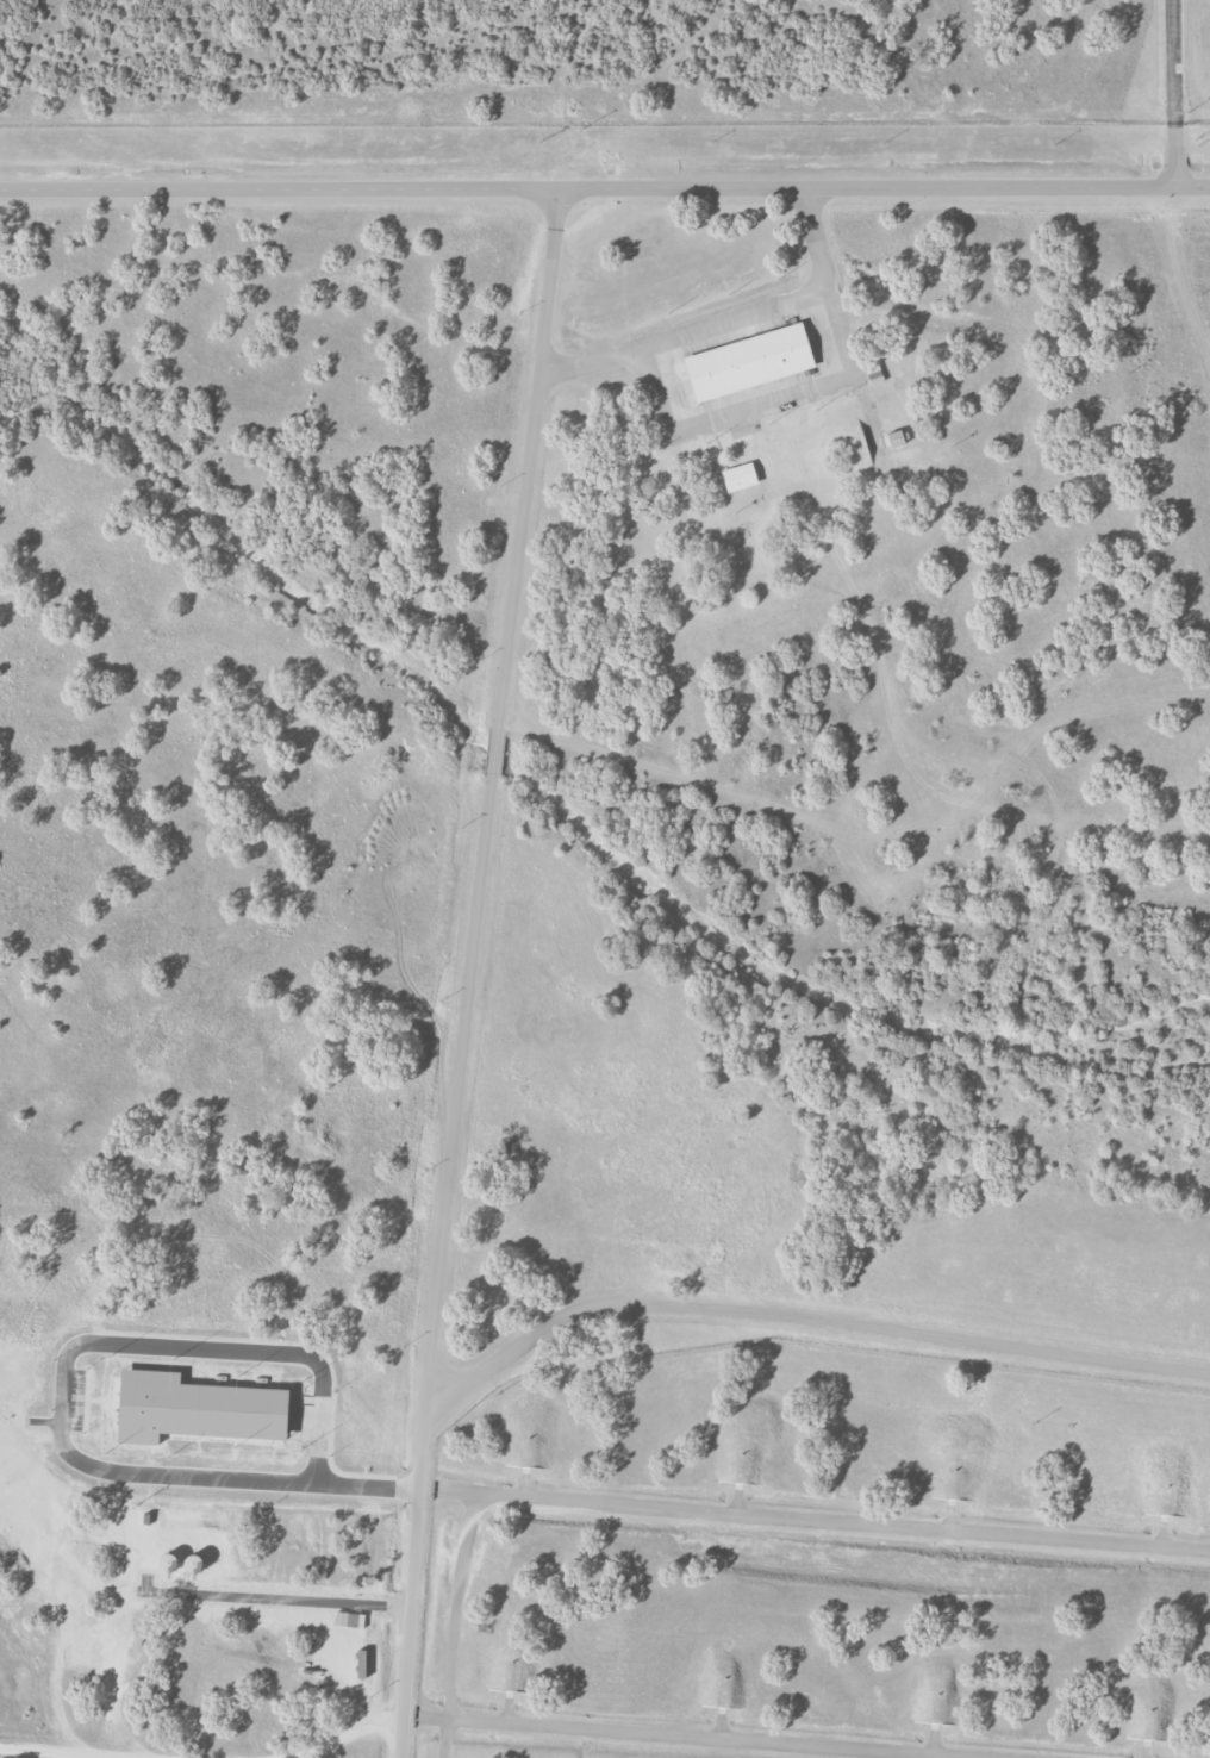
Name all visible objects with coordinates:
road: (1174, 93)
road: (604, 188)
road: (728, 314)
building: (748, 361)
building: (807, 385)
building: (894, 438)
road: (526, 460)
building: (738, 476)
road: (494, 753)
road: (442, 1266)
road: (798, 1317)
road: (815, 1522)
road: (455, 1626)
road: (687, 1735)
road: (338, 1740)
road: (56, 1753)

